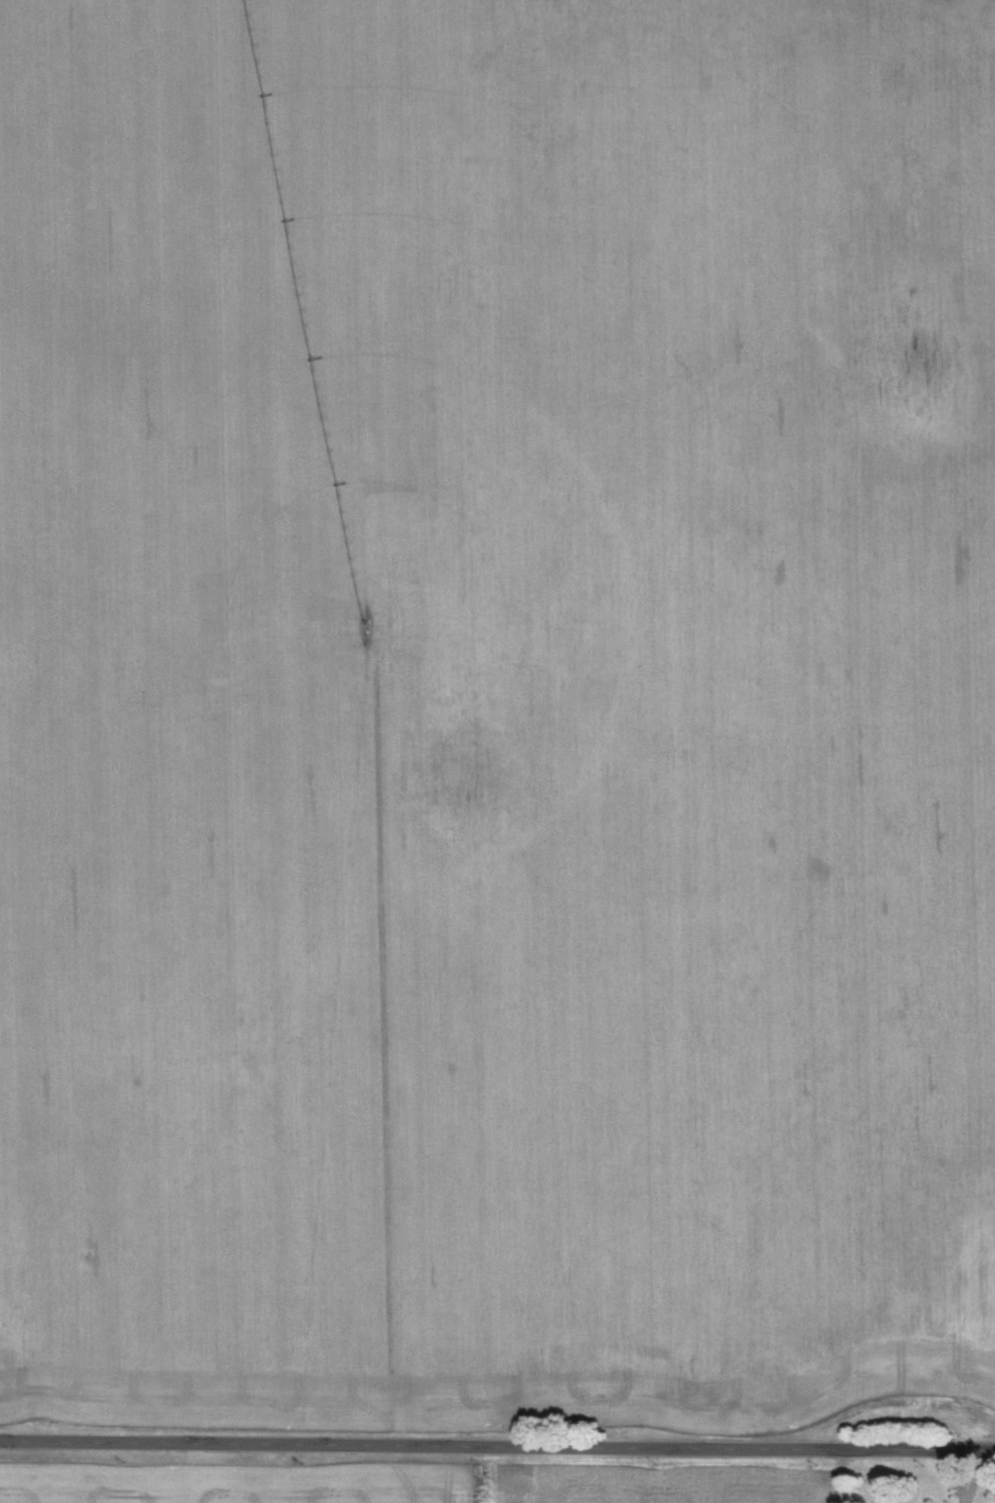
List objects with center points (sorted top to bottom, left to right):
crop: (496, 712)
building: (971, 1361)
road: (497, 1444)
crop: (237, 1483)
crop: (663, 1484)

